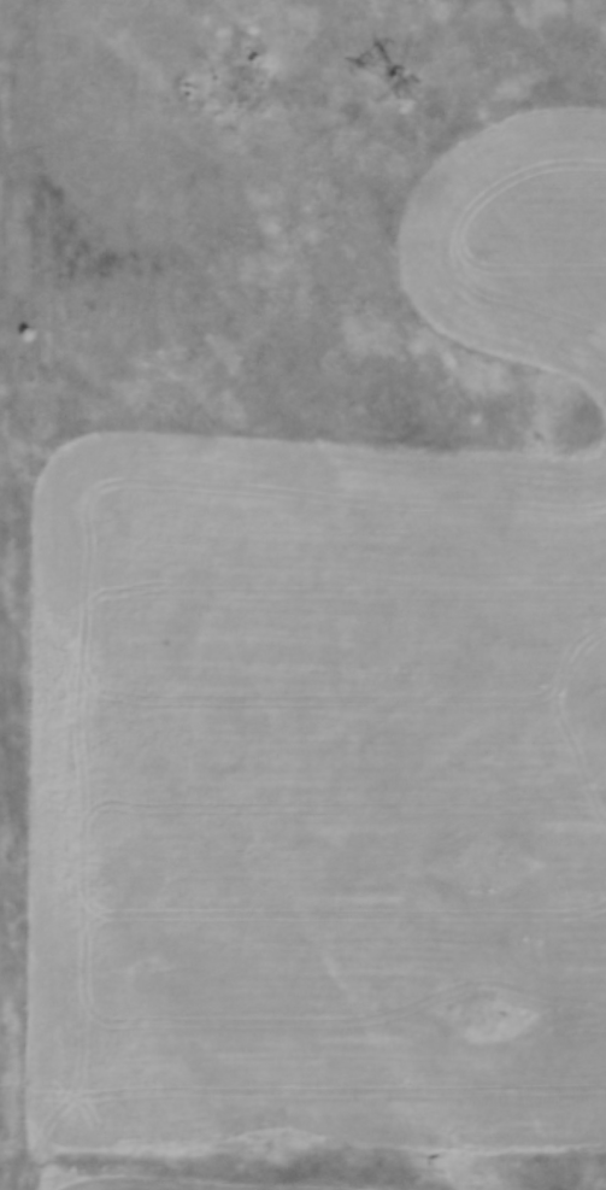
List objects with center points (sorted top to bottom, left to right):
power tower: (401, 93)
road: (5, 1183)

